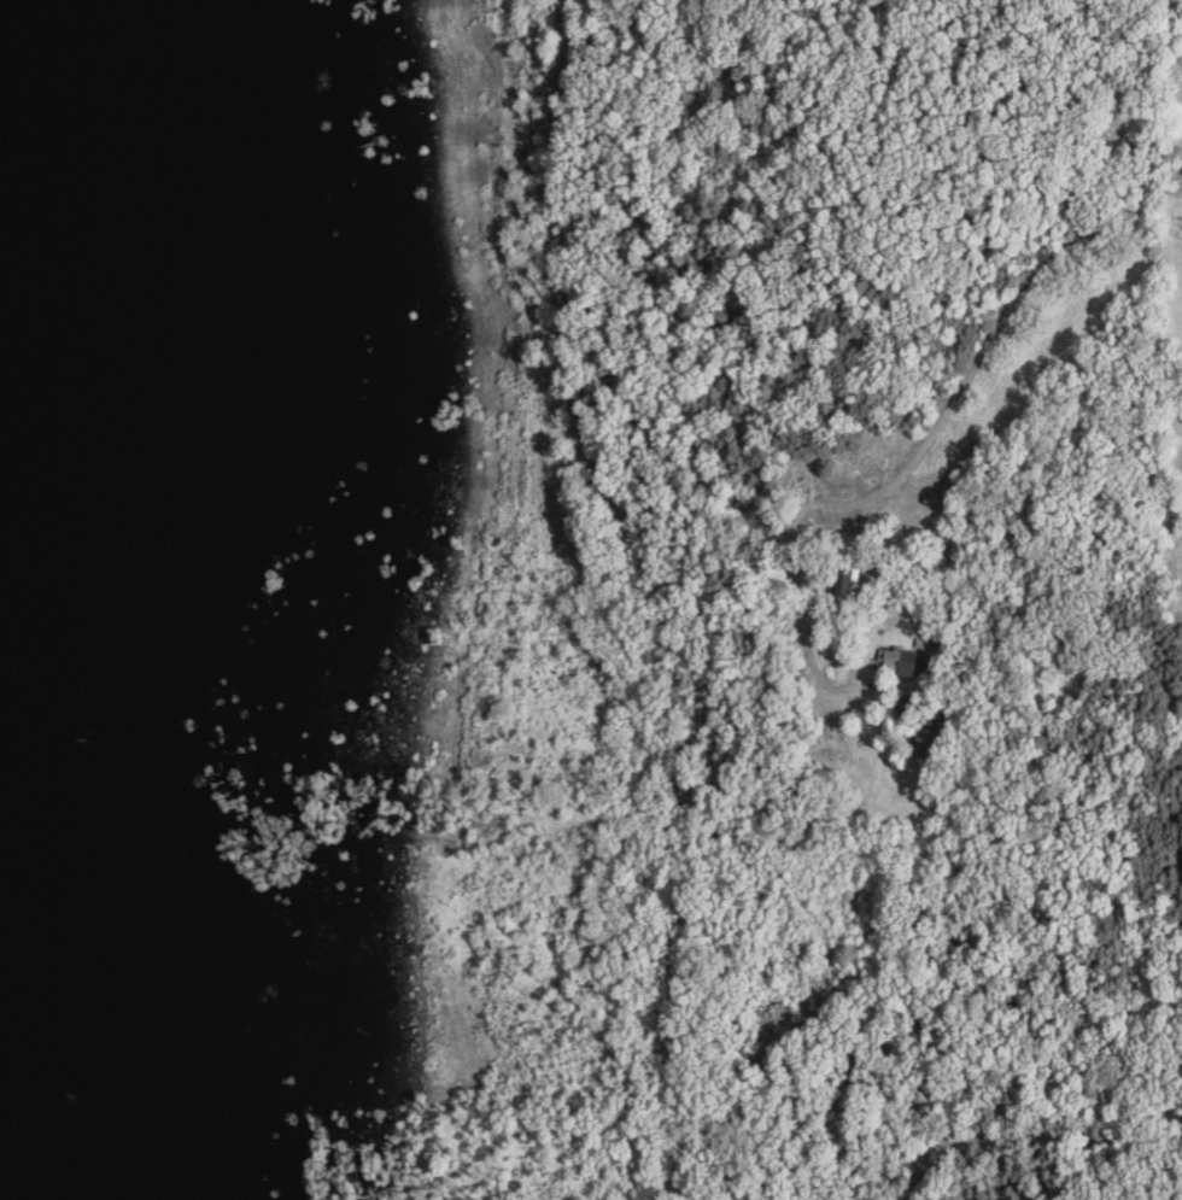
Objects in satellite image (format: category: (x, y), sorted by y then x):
road: (935, 428)
building: (853, 584)
building: (900, 662)

